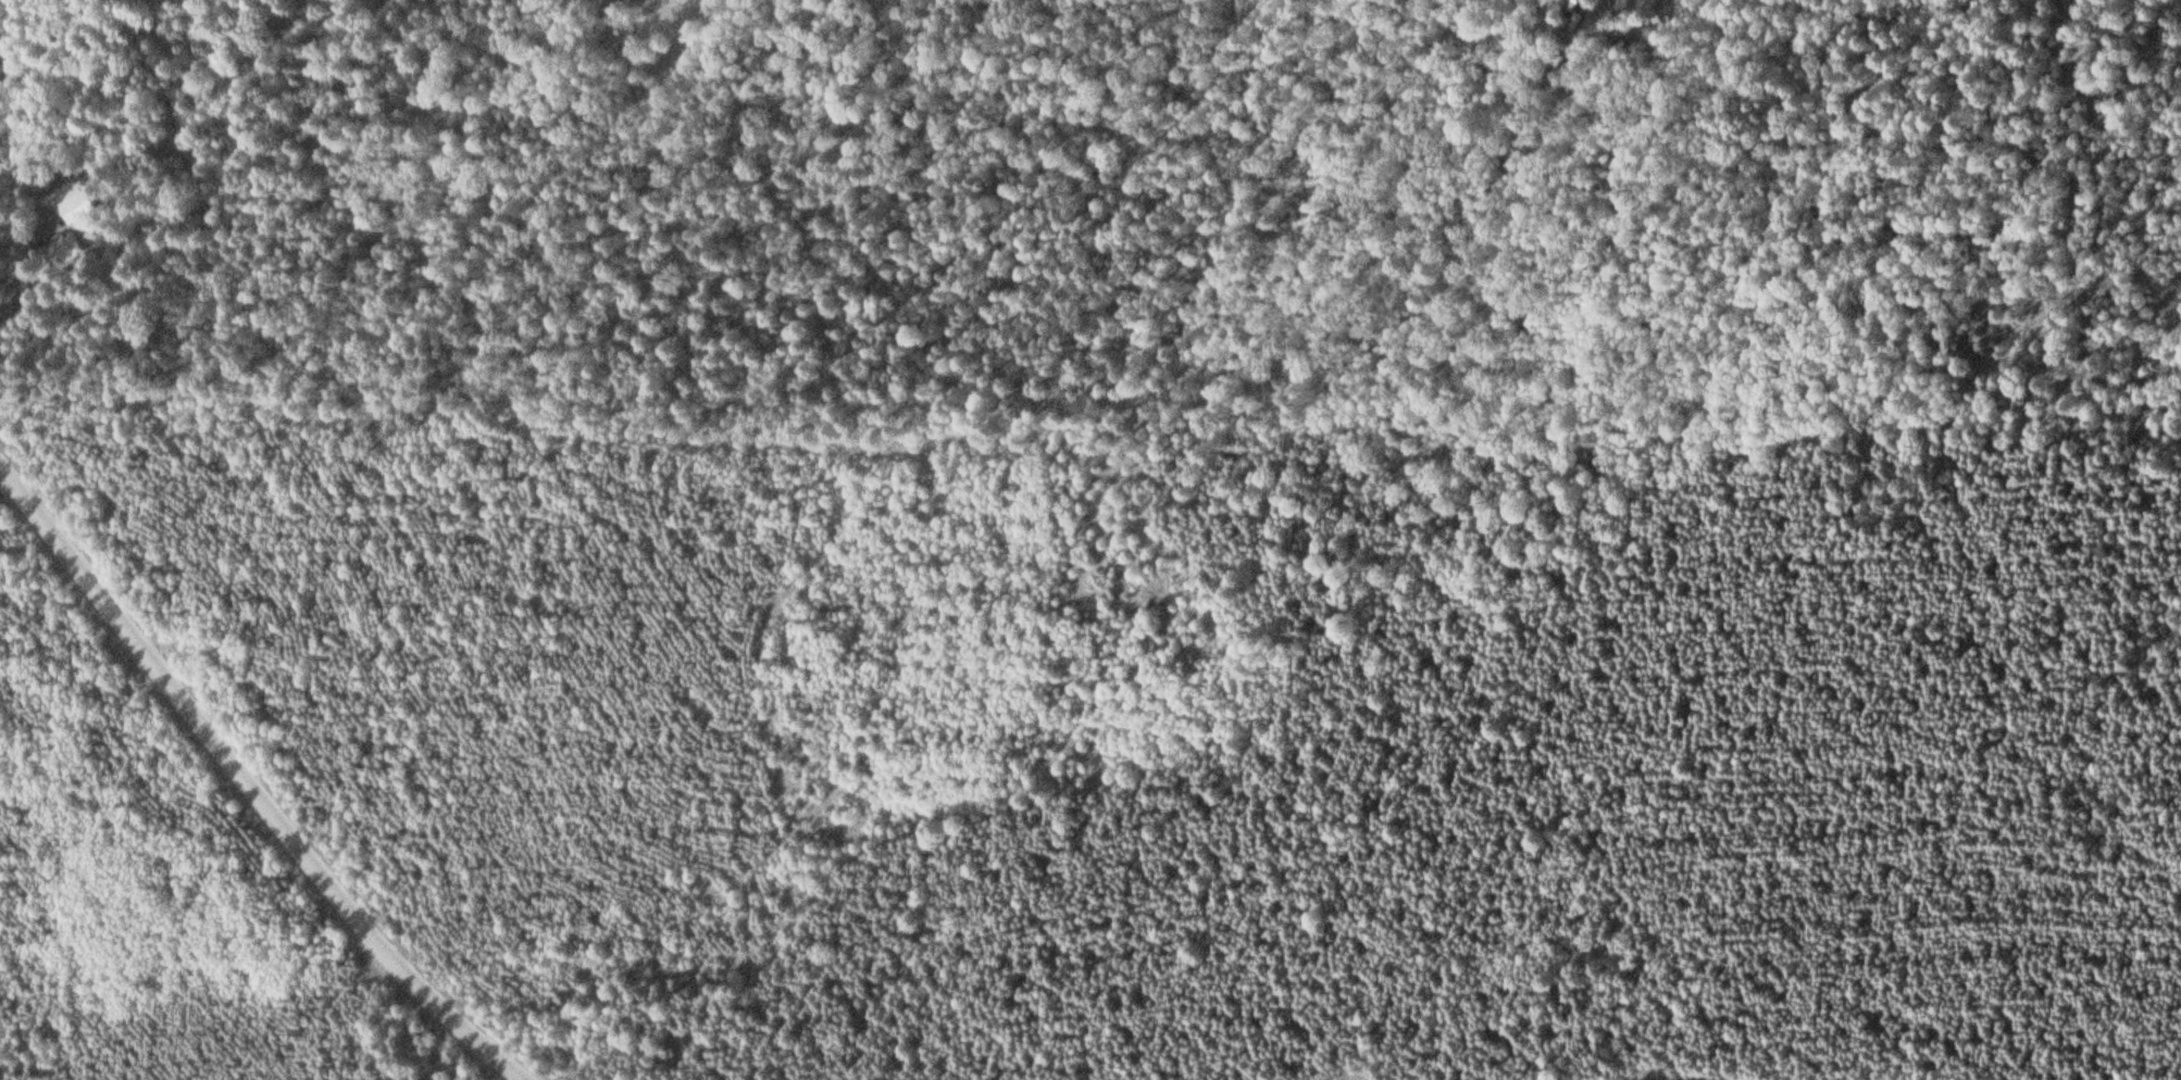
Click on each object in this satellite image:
building: (70, 199)
building: (64, 249)
road: (242, 784)

